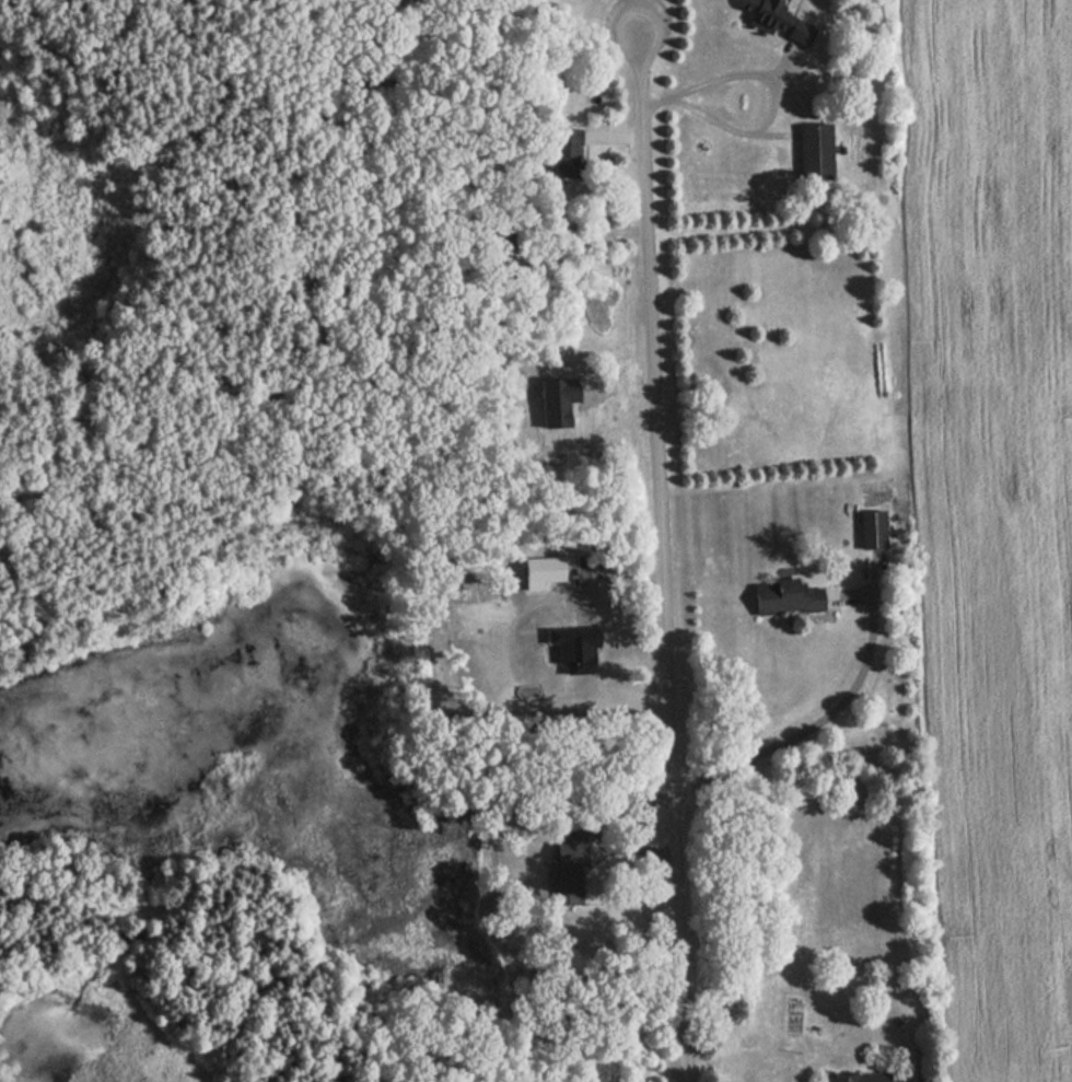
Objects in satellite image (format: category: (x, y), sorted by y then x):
building: (779, 20)
road: (719, 77)
road: (741, 129)
building: (814, 151)
building: (564, 160)
building: (871, 528)
road: (661, 555)
building: (783, 594)
road: (815, 726)
building: (857, 1077)

